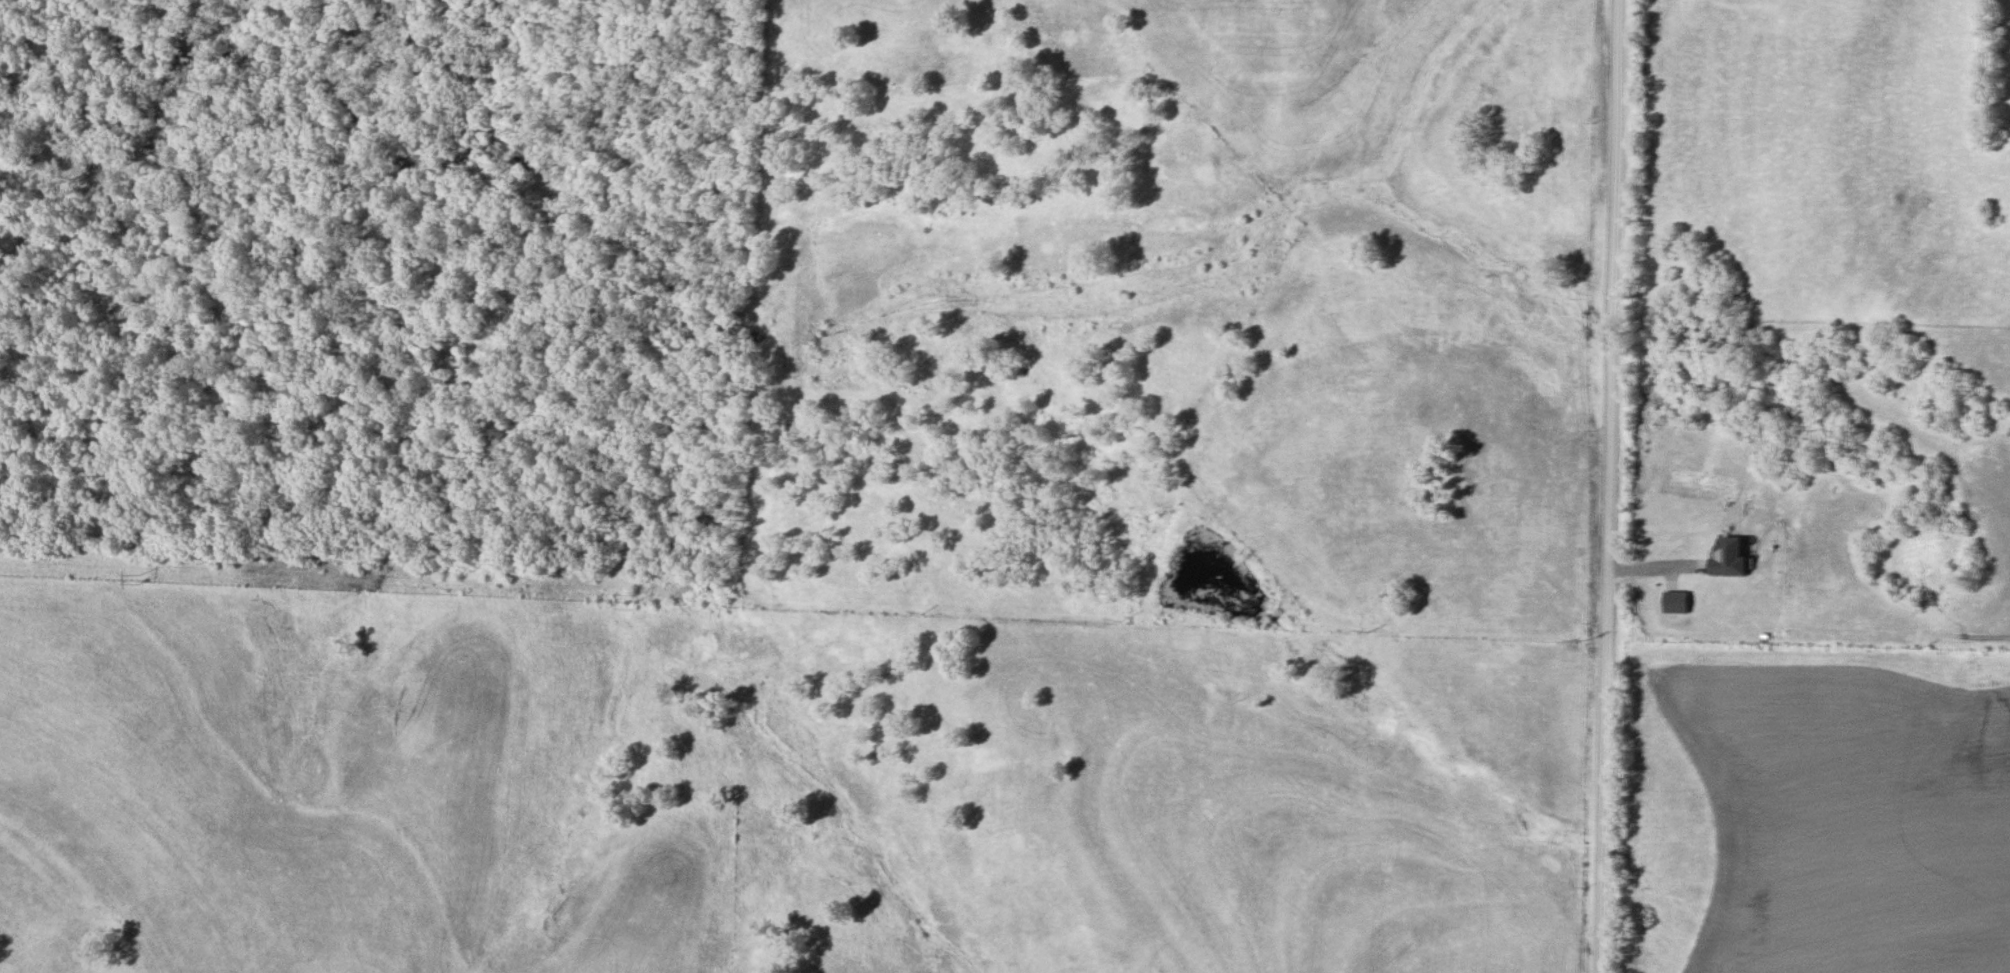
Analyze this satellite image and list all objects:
road: (1612, 486)
crop: (1844, 805)

